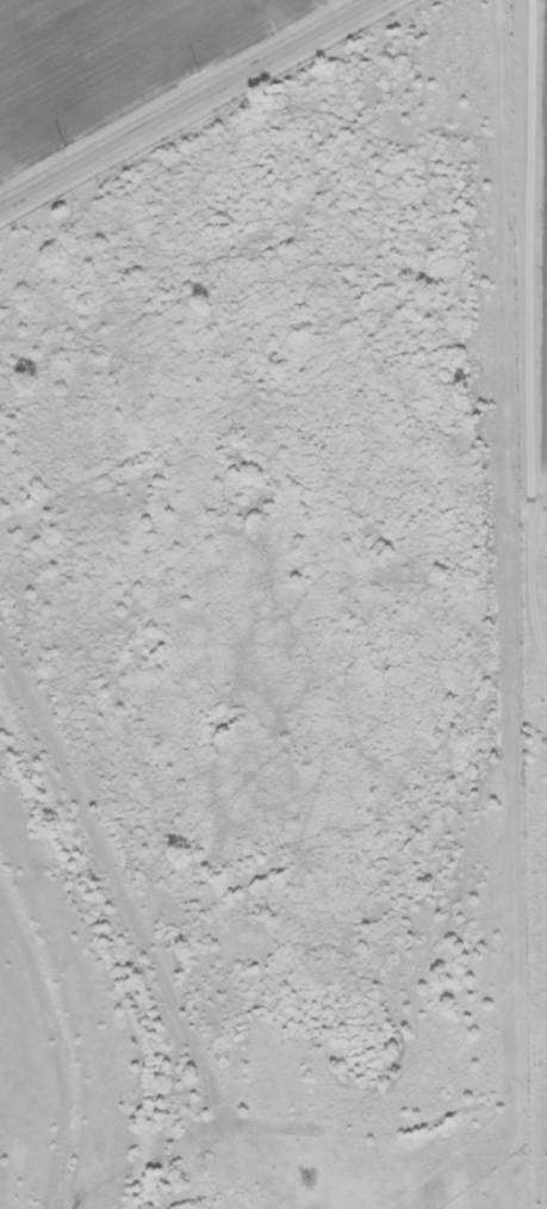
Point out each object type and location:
road: (184, 101)
road: (521, 316)
road: (81, 872)

